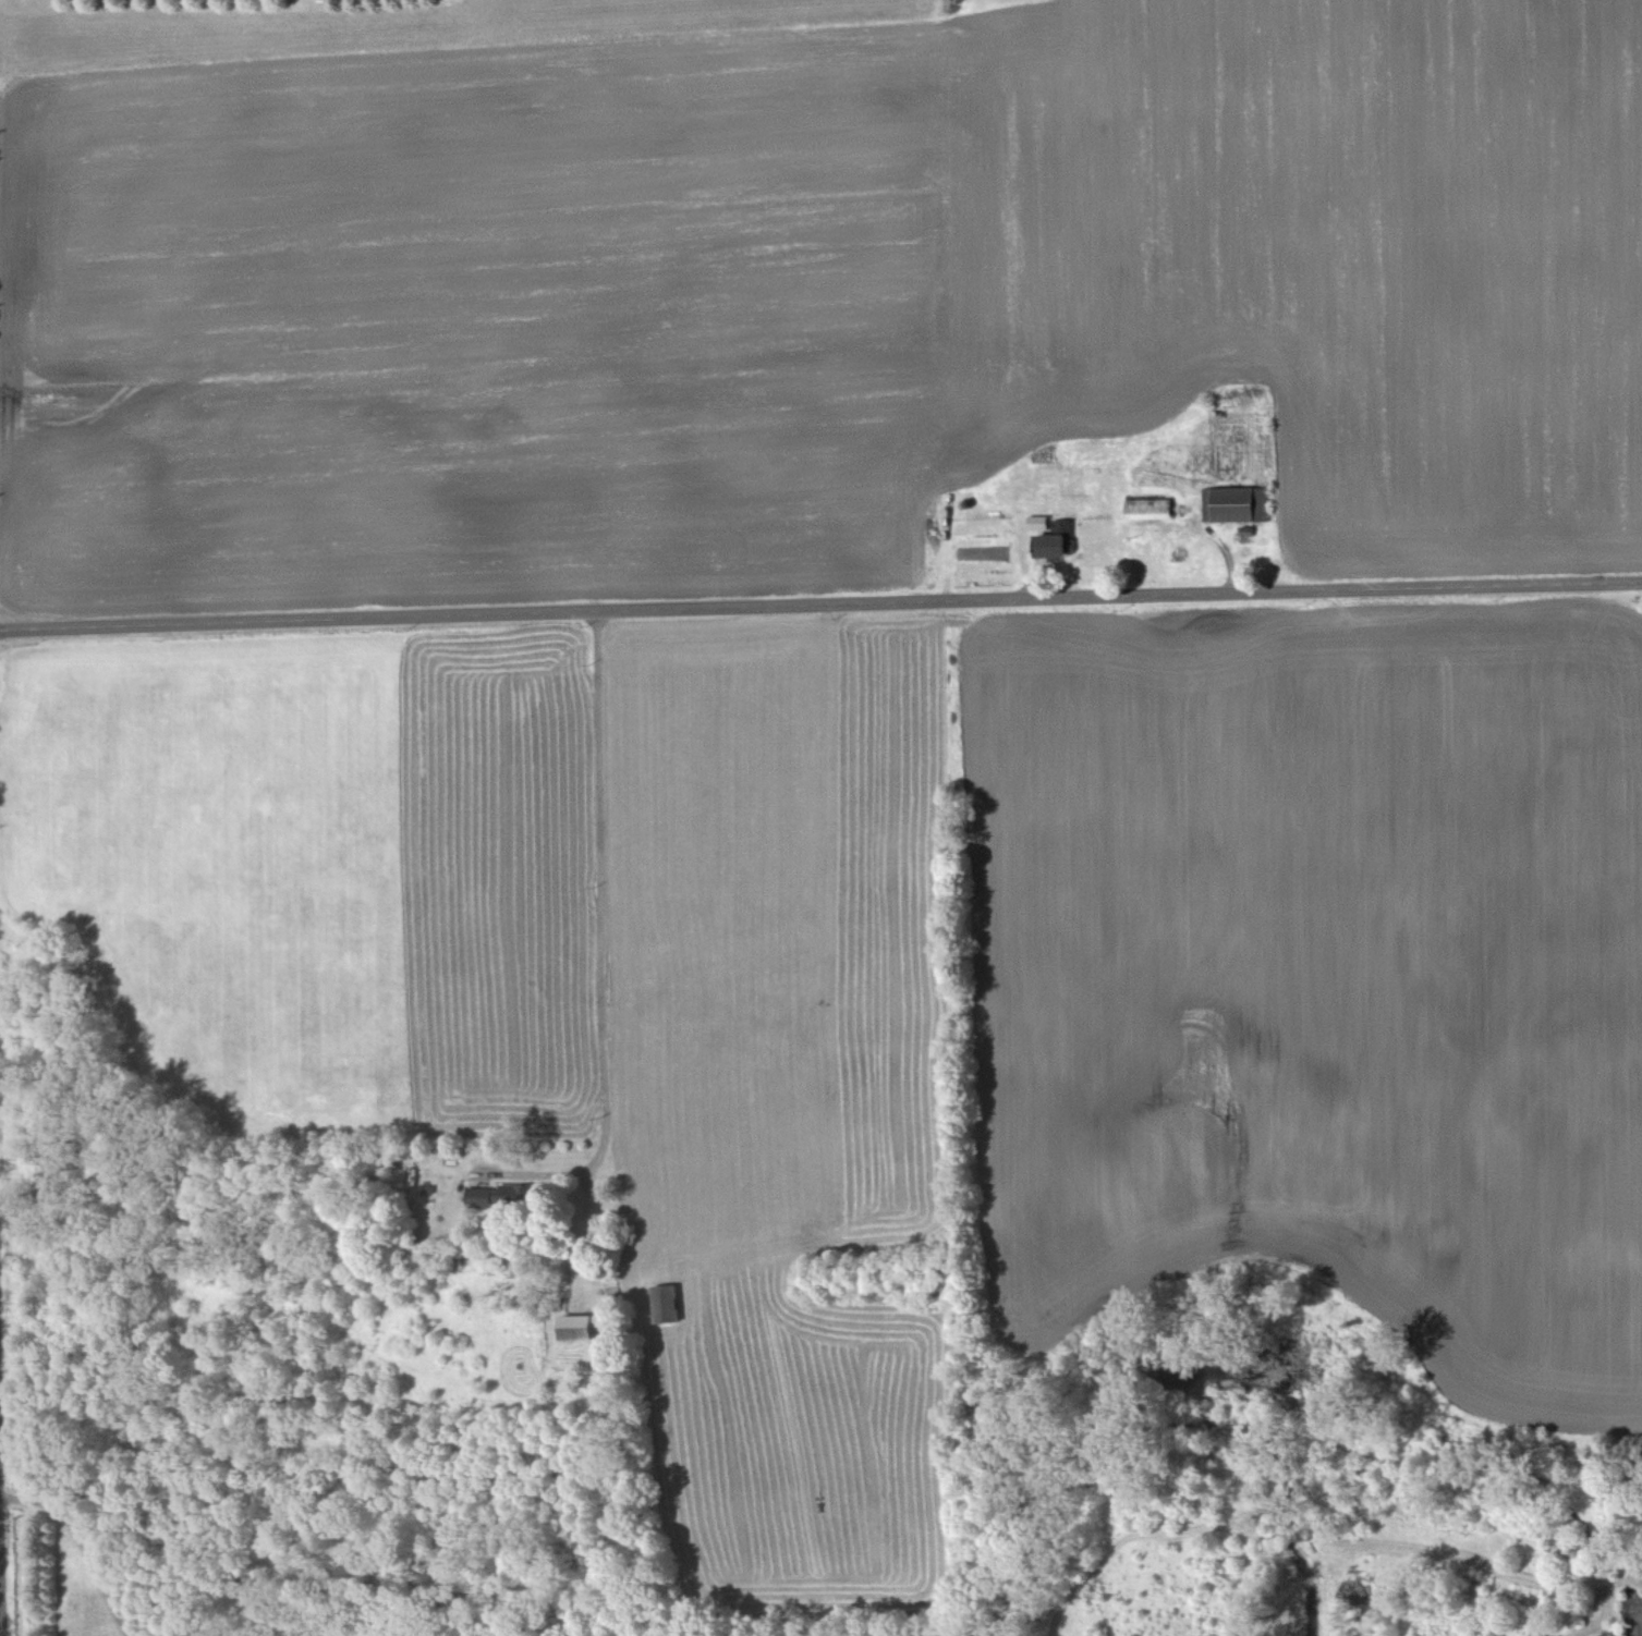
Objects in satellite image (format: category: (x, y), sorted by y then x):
building: (1234, 505)
building: (1147, 510)
building: (1056, 542)
road: (820, 606)
building: (490, 1197)
building: (665, 1304)
building: (577, 1328)
road: (83, 1543)
road: (0, 1615)

